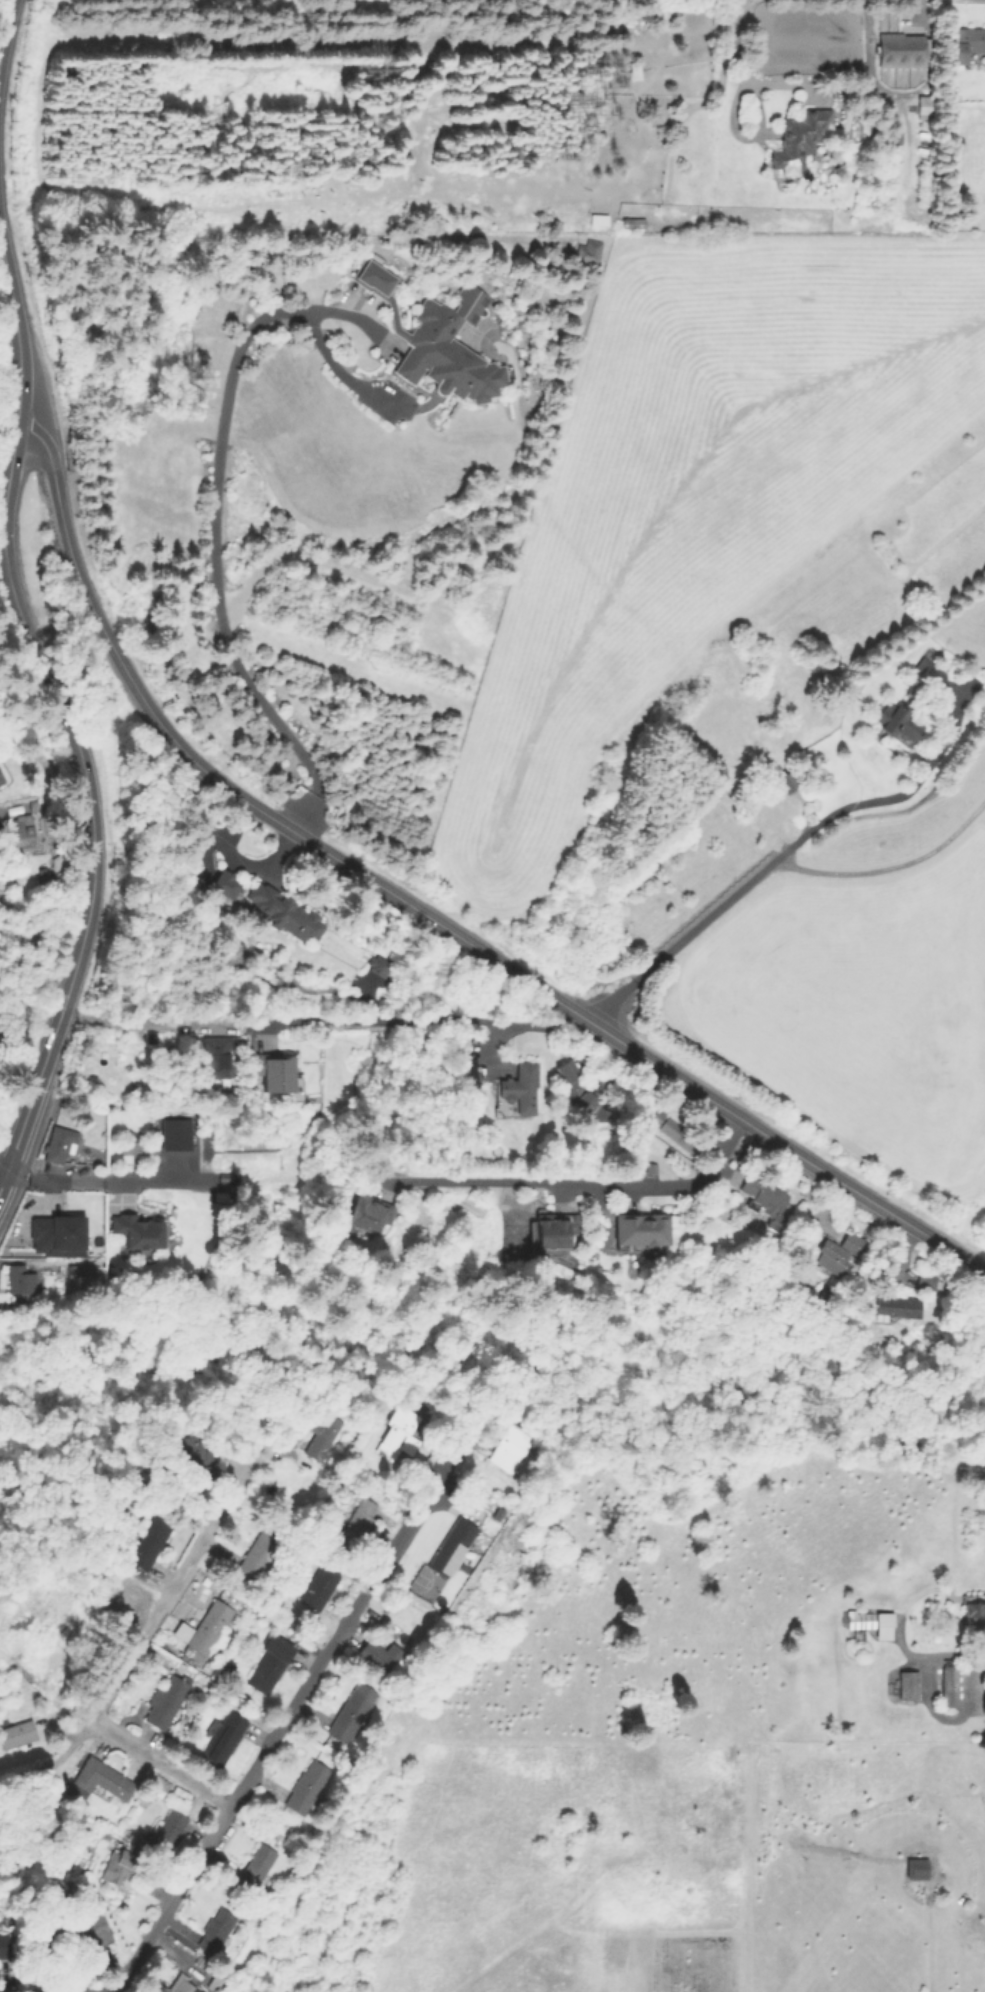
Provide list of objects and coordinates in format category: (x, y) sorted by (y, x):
road: (4, 21)
building: (965, 44)
building: (905, 51)
building: (634, 74)
road: (802, 86)
building: (926, 109)
building: (801, 140)
building: (599, 222)
building: (633, 225)
building: (590, 250)
building: (379, 282)
building: (447, 349)
road: (15, 356)
road: (214, 493)
building: (929, 677)
building: (898, 726)
road: (72, 738)
building: (0, 778)
building: (0, 781)
building: (788, 783)
building: (24, 832)
road: (219, 846)
road: (779, 852)
building: (224, 884)
road: (422, 914)
building: (283, 919)
building: (1, 925)
building: (376, 965)
road: (420, 1020)
road: (147, 1023)
building: (153, 1038)
building: (215, 1059)
building: (276, 1079)
building: (523, 1089)
building: (229, 1091)
building: (580, 1094)
road: (34, 1095)
building: (673, 1129)
building: (178, 1135)
building: (59, 1146)
building: (652, 1169)
road: (4, 1172)
road: (105, 1180)
road: (4, 1184)
road: (595, 1185)
building: (765, 1200)
building: (367, 1219)
building: (142, 1230)
building: (641, 1234)
building: (55, 1235)
building: (551, 1236)
building: (841, 1254)
building: (78, 1274)
building: (22, 1280)
building: (927, 1283)
building: (897, 1309)
building: (403, 1434)
building: (324, 1437)
building: (512, 1449)
building: (191, 1454)
building: (358, 1523)
building: (150, 1543)
building: (453, 1548)
building: (255, 1554)
building: (320, 1588)
road: (165, 1603)
building: (975, 1616)
building: (858, 1623)
building: (883, 1626)
building: (180, 1631)
building: (208, 1631)
building: (375, 1658)
building: (271, 1666)
building: (909, 1684)
building: (950, 1685)
building: (167, 1701)
building: (351, 1717)
building: (18, 1736)
building: (171, 1738)
building: (224, 1739)
road: (272, 1741)
road: (52, 1764)
road: (162, 1770)
building: (104, 1779)
building: (158, 1782)
building: (308, 1789)
building: (169, 1830)
building: (118, 1867)
building: (258, 1867)
building: (915, 1869)
building: (87, 1930)
building: (217, 1932)
building: (6, 1947)
building: (208, 1986)
building: (185, 1987)

